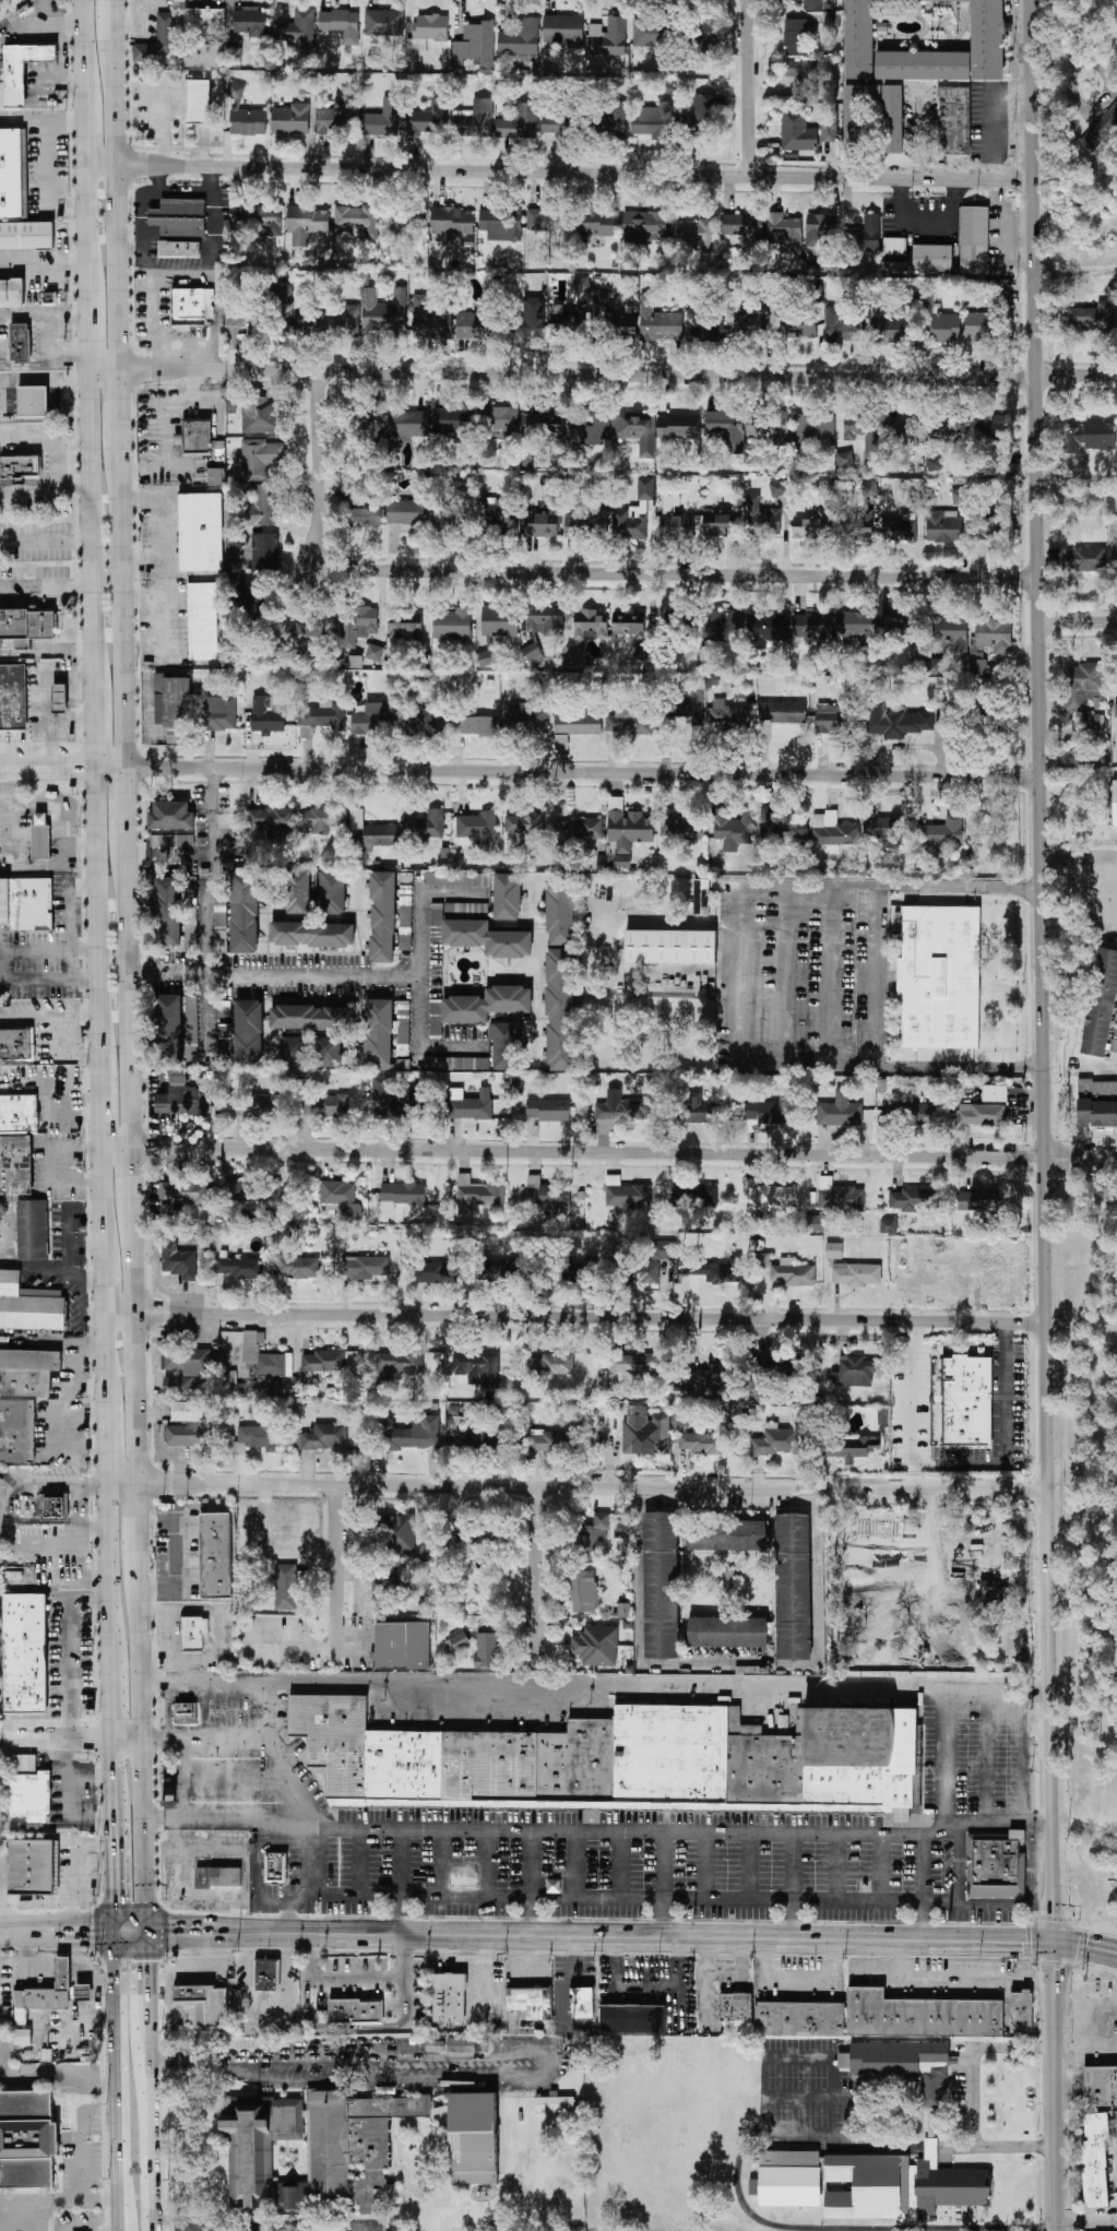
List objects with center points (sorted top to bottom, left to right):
building: (819, 4)
road: (115, 20)
building: (203, 20)
building: (250, 22)
building: (383, 23)
building: (341, 24)
building: (297, 32)
building: (563, 32)
building: (427, 33)
building: (652, 35)
building: (708, 35)
building: (796, 37)
building: (609, 38)
building: (924, 39)
building: (521, 40)
building: (158, 43)
building: (476, 45)
road: (83, 47)
building: (233, 47)
building: (206, 55)
building: (22, 70)
building: (799, 75)
road: (750, 87)
road: (993, 94)
building: (198, 100)
building: (703, 107)
building: (854, 116)
building: (337, 117)
building: (429, 118)
building: (292, 119)
building: (384, 119)
building: (614, 119)
building: (893, 119)
building: (474, 120)
building: (953, 120)
road: (24, 121)
building: (653, 121)
building: (248, 122)
building: (519, 123)
building: (558, 123)
road: (162, 124)
road: (86, 129)
building: (797, 131)
building: (829, 131)
building: (1100, 131)
road: (918, 135)
road: (994, 139)
road: (48, 164)
road: (559, 171)
building: (13, 174)
road: (155, 188)
road: (135, 203)
road: (118, 204)
road: (154, 217)
building: (261, 218)
building: (358, 218)
road: (925, 218)
building: (400, 221)
building: (546, 222)
building: (451, 223)
building: (307, 224)
building: (597, 224)
building: (501, 225)
building: (179, 226)
building: (744, 226)
road: (87, 227)
building: (645, 227)
building: (820, 229)
building: (785, 233)
building: (696, 234)
building: (26, 236)
road: (152, 236)
road: (1003, 238)
building: (974, 239)
building: (895, 249)
road: (215, 254)
building: (932, 258)
building: (820, 260)
road: (44, 262)
building: (582, 285)
building: (11, 292)
building: (192, 306)
road: (148, 308)
road: (25, 311)
building: (384, 312)
building: (616, 316)
building: (1092, 317)
building: (531, 318)
building: (299, 320)
building: (343, 320)
building: (246, 321)
building: (429, 321)
building: (478, 322)
building: (658, 322)
building: (567, 323)
road: (88, 324)
building: (799, 327)
building: (982, 327)
building: (706, 328)
building: (840, 328)
building: (892, 328)
building: (946, 328)
road: (50, 337)
building: (20, 343)
road: (157, 356)
road: (215, 357)
road: (104, 359)
road: (27, 366)
road: (105, 369)
road: (618, 376)
road: (27, 382)
road: (72, 382)
road: (55, 392)
road: (72, 401)
building: (33, 402)
road: (33, 402)
road: (51, 402)
road: (9, 403)
road: (120, 408)
building: (262, 414)
building: (453, 419)
building: (500, 423)
building: (408, 424)
building: (543, 425)
building: (677, 426)
building: (769, 426)
building: (813, 426)
building: (586, 430)
building: (635, 430)
building: (727, 430)
building: (861, 430)
building: (900, 434)
building: (949, 435)
building: (1090, 437)
building: (198, 438)
road: (45, 443)
building: (260, 458)
building: (844, 459)
road: (61, 464)
building: (20, 467)
building: (214, 475)
road: (46, 486)
building: (645, 488)
building: (777, 488)
building: (824, 488)
building: (960, 497)
building: (260, 506)
building: (407, 512)
building: (364, 518)
building: (498, 518)
building: (449, 519)
building: (763, 519)
road: (92, 521)
building: (675, 521)
building: (860, 521)
building: (630, 522)
building: (721, 523)
building: (585, 525)
building: (539, 526)
building: (811, 526)
building: (943, 527)
building: (993, 529)
building: (898, 531)
building: (201, 533)
road: (46, 542)
building: (264, 551)
building: (1090, 559)
road: (164, 570)
road: (580, 574)
road: (61, 588)
building: (253, 604)
road: (123, 607)
building: (545, 620)
building: (681, 620)
building: (203, 621)
building: (499, 621)
building: (629, 622)
building: (358, 624)
building: (452, 624)
road: (1078, 624)
building: (591, 625)
building: (26, 626)
building: (722, 626)
building: (818, 626)
building: (858, 626)
building: (898, 626)
building: (405, 627)
building: (768, 627)
building: (298, 632)
building: (952, 632)
building: (990, 640)
building: (375, 652)
building: (531, 652)
road: (47, 653)
building: (486, 658)
building: (574, 660)
building: (934, 667)
building: (1081, 686)
building: (13, 698)
road: (47, 698)
building: (60, 698)
building: (174, 703)
building: (686, 708)
building: (1116, 710)
building: (782, 712)
building: (221, 713)
building: (729, 715)
building: (268, 717)
building: (321, 719)
building: (375, 719)
building: (530, 719)
building: (834, 719)
road: (71, 721)
building: (895, 721)
building: (630, 722)
building: (425, 723)
building: (578, 724)
building: (1093, 724)
road: (95, 726)
building: (480, 726)
building: (561, 741)
road: (110, 768)
road: (47, 769)
road: (582, 773)
road: (214, 791)
building: (1115, 803)
road: (126, 814)
building: (171, 816)
building: (271, 819)
building: (323, 820)
building: (524, 823)
building: (425, 826)
building: (477, 827)
building: (782, 828)
building: (578, 829)
building: (627, 830)
building: (680, 830)
building: (733, 830)
building: (887, 830)
building: (370, 831)
building: (833, 833)
building: (942, 834)
building: (39, 839)
building: (171, 841)
road: (80, 849)
road: (169, 857)
road: (1079, 858)
road: (19, 865)
building: (452, 879)
road: (857, 883)
building: (298, 892)
building: (333, 892)
road: (210, 893)
road: (879, 895)
building: (508, 897)
building: (701, 898)
building: (26, 906)
building: (167, 912)
building: (245, 912)
building: (560, 912)
road: (126, 916)
building: (383, 917)
road: (98, 918)
building: (219, 919)
building: (312, 934)
building: (191, 935)
building: (670, 947)
road: (19, 951)
road: (70, 952)
road: (157, 974)
road: (373, 974)
road: (786, 975)
building: (940, 977)
road: (736, 990)
building: (487, 1005)
building: (1102, 1005)
building: (561, 1010)
road: (209, 1011)
building: (311, 1018)
building: (436, 1018)
building: (191, 1020)
building: (168, 1028)
building: (248, 1033)
building: (379, 1034)
road: (417, 1042)
building: (1114, 1042)
building: (16, 1043)
building: (507, 1046)
building: (294, 1052)
building: (329, 1052)
road: (130, 1059)
road: (1093, 1066)
building: (995, 1093)
building: (181, 1097)
building: (396, 1100)
building: (325, 1105)
building: (471, 1105)
building: (1097, 1105)
building: (258, 1106)
road: (102, 1108)
building: (548, 1109)
building: (697, 1109)
building: (840, 1111)
building: (765, 1114)
building: (981, 1114)
building: (17, 1115)
road: (1044, 1115)
road: (117, 1147)
road: (625, 1152)
road: (62, 1165)
building: (15, 1167)
road: (132, 1170)
building: (478, 1191)
building: (183, 1192)
building: (626, 1194)
building: (253, 1195)
building: (401, 1195)
building: (768, 1196)
building: (337, 1197)
building: (548, 1197)
building: (839, 1197)
building: (914, 1199)
building: (979, 1200)
road: (1069, 1201)
road: (103, 1207)
building: (818, 1223)
building: (888, 1225)
building: (25, 1230)
building: (666, 1250)
building: (833, 1250)
building: (178, 1260)
building: (298, 1267)
building: (365, 1267)
building: (240, 1268)
building: (495, 1270)
building: (580, 1271)
building: (717, 1271)
building: (433, 1272)
building: (646, 1272)
building: (792, 1273)
building: (857, 1275)
road: (105, 1290)
building: (28, 1307)
road: (575, 1318)
road: (134, 1339)
building: (265, 1357)
road: (106, 1358)
building: (330, 1362)
building: (558, 1364)
building: (637, 1364)
building: (399, 1365)
building: (776, 1365)
building: (478, 1367)
building: (185, 1369)
building: (27, 1372)
building: (855, 1372)
building: (712, 1377)
building: (680, 1397)
building: (967, 1401)
road: (914, 1405)
building: (678, 1419)
building: (643, 1429)
building: (16, 1433)
building: (188, 1435)
building: (415, 1435)
building: (258, 1436)
building: (323, 1437)
road: (1003, 1438)
building: (775, 1440)
building: (555, 1441)
building: (702, 1443)
road: (107, 1444)
building: (858, 1446)
road: (84, 1483)
road: (123, 1484)
road: (594, 1487)
building: (54, 1507)
road: (158, 1521)
road: (140, 1522)
building: (401, 1533)
building: (476, 1533)
building: (727, 1534)
building: (594, 1539)
park: (1088, 1544)
road: (10, 1546)
road: (177, 1553)
building: (215, 1555)
road: (337, 1571)
road: (109, 1573)
road: (536, 1577)
building: (391, 1582)
building: (661, 1586)
building: (286, 1587)
building: (794, 1587)
building: (582, 1590)
building: (619, 1591)
building: (623, 1611)
building: (728, 1631)
building: (193, 1634)
building: (459, 1639)
building: (403, 1646)
building: (596, 1646)
road: (290, 1647)
road: (67, 1649)
building: (487, 1650)
building: (24, 1654)
road: (730, 1668)
road: (596, 1688)
road: (111, 1700)
road: (168, 1712)
building: (186, 1713)
road: (0, 1737)
road: (57, 1738)
road: (127, 1740)
road: (205, 1740)
road: (142, 1746)
road: (271, 1758)
road: (944, 1758)
road: (983, 1759)
road: (1021, 1759)
building: (623, 1761)
building: (22, 1764)
road: (180, 1781)
road: (225, 1781)
building: (31, 1794)
road: (599, 1835)
road: (114, 1836)
road: (359, 1864)
road: (960, 1864)
road: (444, 1865)
road: (486, 1865)
building: (996, 1865)
building: (32, 1866)
road: (575, 1866)
building: (276, 1867)
road: (622, 1867)
road: (703, 1868)
road: (75, 1870)
road: (748, 1870)
road: (836, 1871)
road: (883, 1871)
building: (216, 1876)
road: (1085, 1878)
road: (399, 1883)
road: (527, 1885)
road: (663, 1887)
road: (792, 1888)
road: (924, 1889)
road: (3, 1895)
road: (709, 1901)
road: (274, 1908)
road: (292, 1921)
traffic signals: (117, 1933)
road: (131, 1933)
traffic signals: (145, 1933)
road: (58, 1934)
road: (631, 1937)
traffic signals: (1056, 1942)
road: (833, 1957)
road: (713, 1971)
road: (51, 1974)
building: (266, 1975)
road: (781, 1977)
road: (357, 1978)
road: (960, 1979)
building: (46, 1993)
road: (73, 1994)
building: (449, 1998)
building: (85, 2002)
road: (1086, 2002)
building: (531, 2003)
building: (582, 2003)
building: (202, 2005)
building: (736, 2007)
building: (1022, 2009)
building: (355, 2013)
building: (920, 2016)
building: (633, 2018)
building: (799, 2019)
road: (356, 2027)
building: (22, 2037)
road: (1096, 2043)
building: (456, 2046)
road: (340, 2061)
building: (902, 2066)
road: (1, 2067)
road: (118, 2067)
road: (147, 2081)
road: (59, 2082)
building: (1101, 2086)
road: (974, 2098)
building: (555, 2104)
building: (473, 2138)
building: (27, 2139)
road: (80, 2143)
road: (877, 2143)
building: (317, 2152)
building: (1095, 2161)
building: (788, 2179)
road: (737, 2182)
building: (901, 2186)
road: (60, 2202)
road: (121, 2216)
road: (2, 2217)
road: (33, 2217)
road: (1088, 2219)
road: (265, 2224)
road: (312, 2229)

